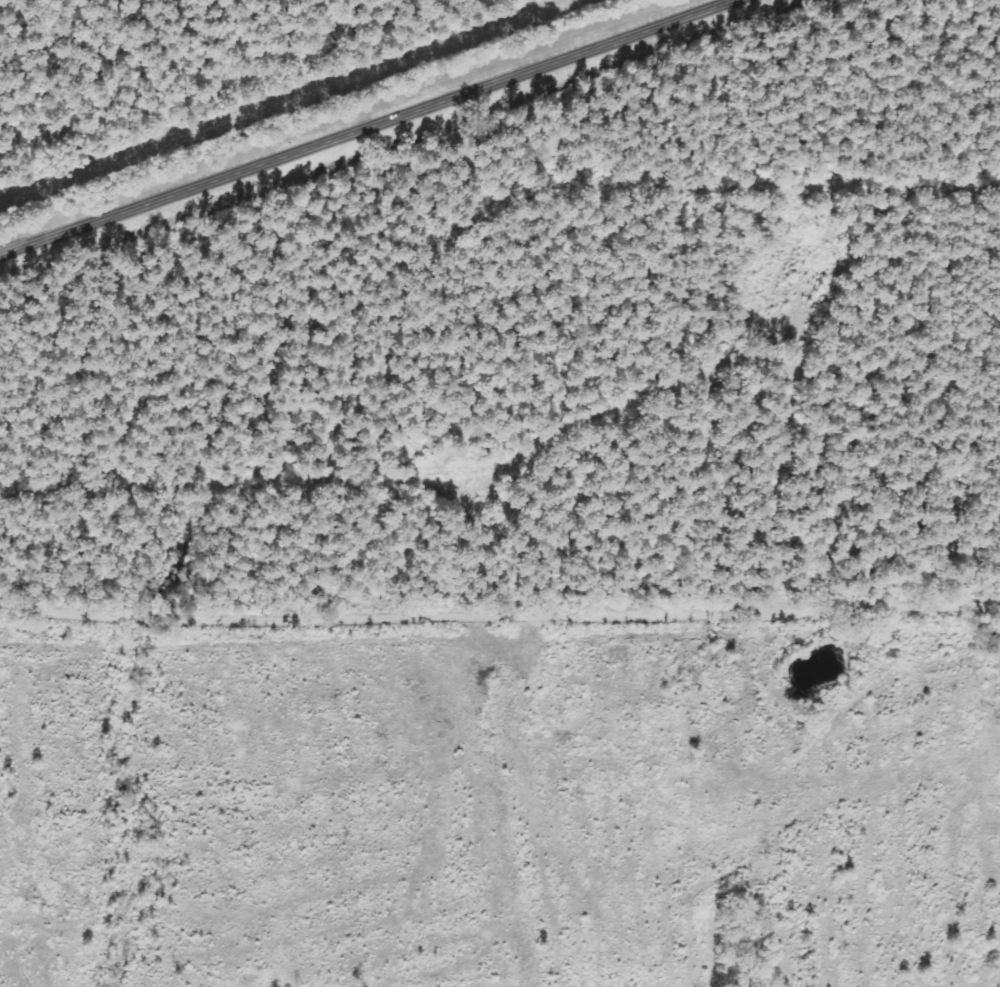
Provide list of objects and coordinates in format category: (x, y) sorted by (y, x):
road: (368, 128)
road: (499, 626)

